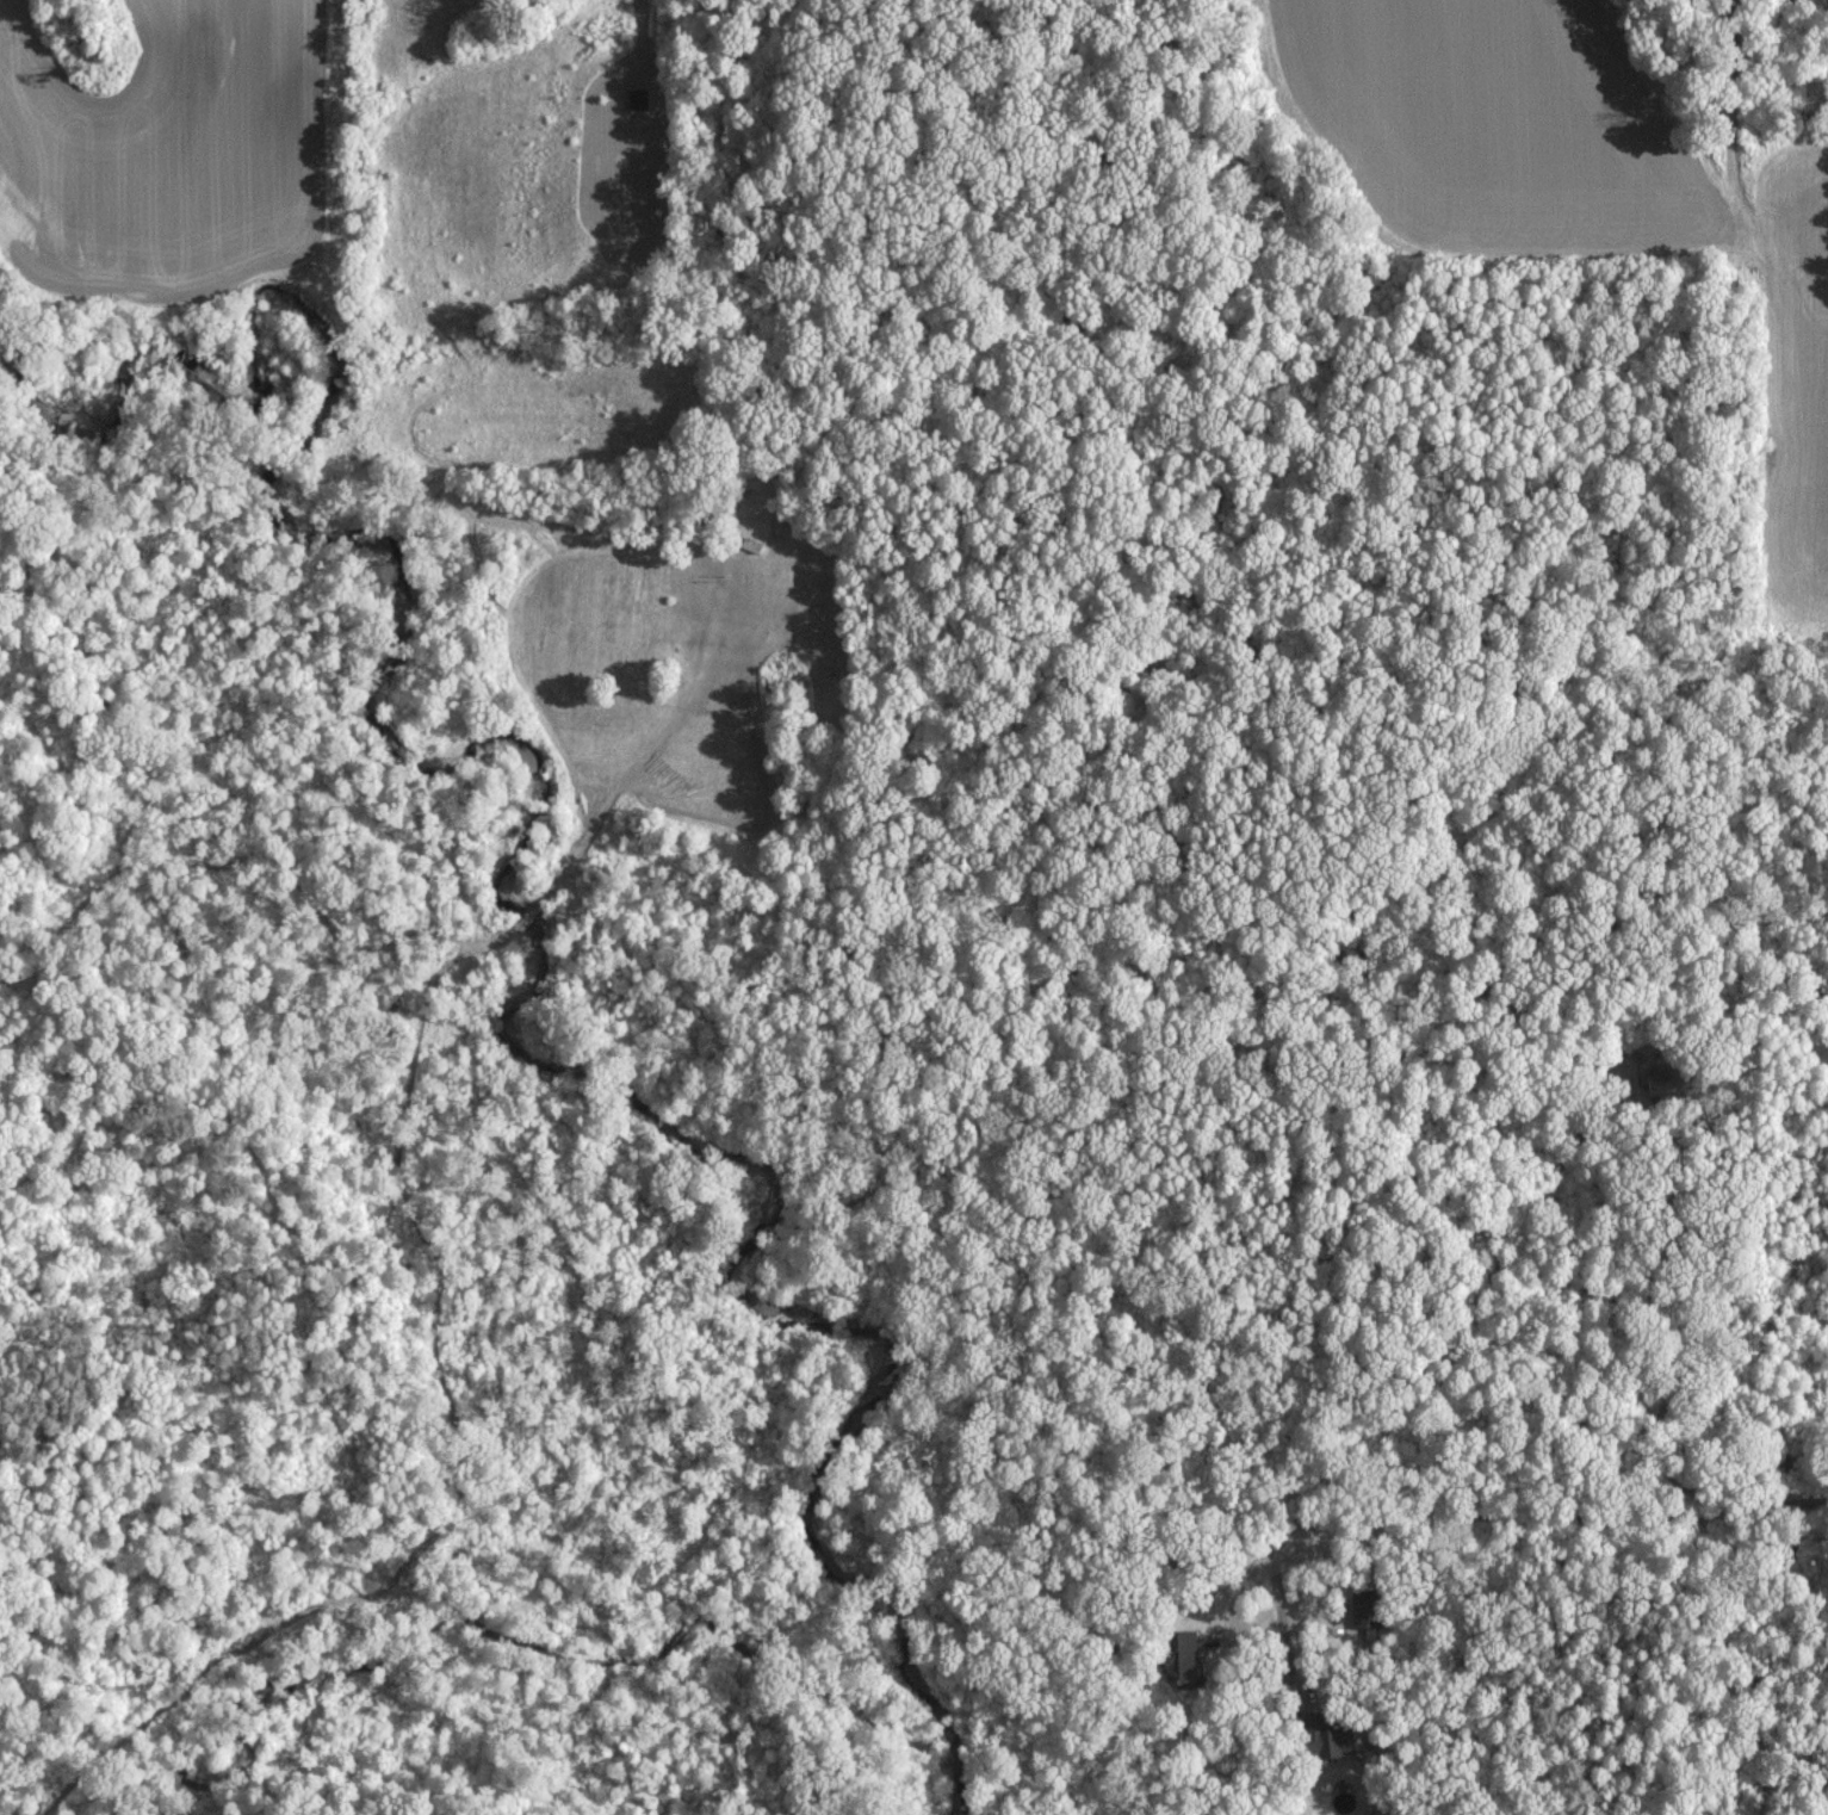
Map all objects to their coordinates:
road: (776, 305)
building: (1660, 1079)
road: (1319, 1524)
road: (1767, 1526)
building: (1365, 1619)
building: (1336, 1740)

